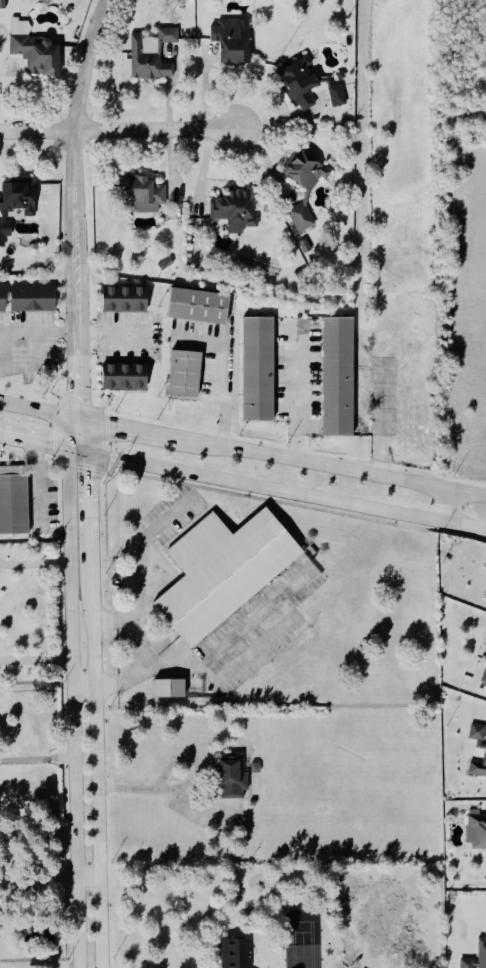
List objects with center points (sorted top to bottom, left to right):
building: (2, 4)
building: (234, 41)
building: (36, 49)
building: (153, 54)
building: (340, 75)
building: (302, 82)
road: (0, 85)
building: (339, 95)
road: (153, 130)
road: (35, 131)
building: (309, 170)
building: (146, 194)
building: (17, 204)
road: (72, 207)
building: (237, 210)
building: (303, 216)
building: (165, 264)
building: (2, 299)
building: (32, 299)
building: (124, 299)
building: (198, 306)
road: (4, 353)
building: (257, 369)
building: (184, 373)
building: (124, 376)
building: (337, 377)
road: (383, 390)
road: (220, 395)
road: (297, 395)
traffic signals: (77, 397)
road: (38, 412)
traffic signals: (110, 426)
road: (139, 431)
building: (421, 445)
road: (42, 447)
traffic signals: (52, 449)
road: (260, 453)
traffic signals: (86, 472)
road: (199, 476)
road: (402, 480)
road: (41, 485)
road: (86, 499)
building: (14, 504)
road: (445, 506)
road: (399, 513)
road: (147, 552)
road: (35, 562)
building: (222, 571)
road: (131, 628)
road: (36, 663)
road: (193, 671)
building: (484, 679)
building: (169, 689)
road: (73, 693)
building: (479, 734)
road: (37, 759)
building: (478, 769)
road: (93, 774)
building: (235, 776)
road: (160, 790)
building: (477, 829)
road: (86, 875)
building: (483, 946)
building: (240, 952)

